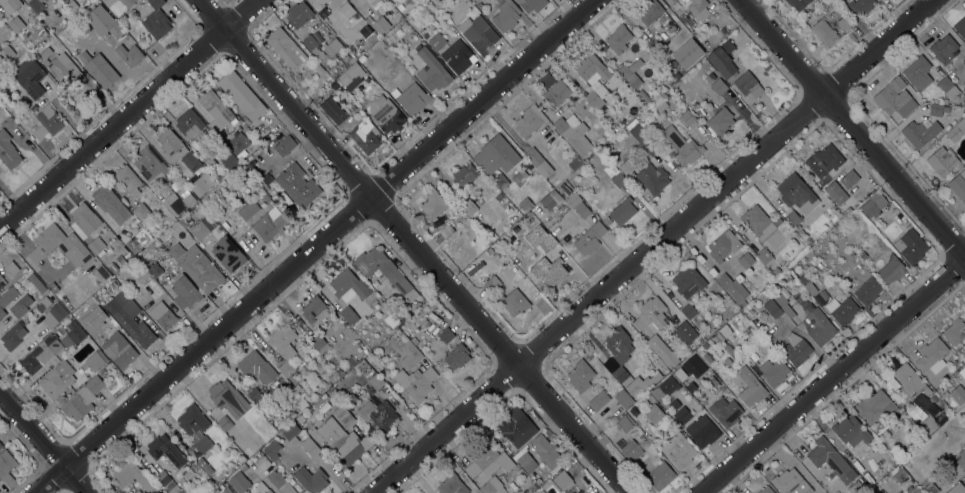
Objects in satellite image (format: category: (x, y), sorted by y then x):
building: (95, 1)
building: (434, 1)
building: (670, 2)
building: (319, 3)
building: (797, 3)
building: (71, 4)
building: (527, 4)
building: (9, 5)
building: (118, 5)
building: (479, 5)
building: (35, 6)
building: (861, 6)
building: (400, 7)
building: (829, 8)
building: (698, 9)
building: (346, 11)
building: (650, 13)
building: (103, 14)
building: (298, 14)
building: (505, 16)
building: (683, 18)
building: (367, 19)
building: (156, 20)
building: (690, 21)
building: (844, 23)
building: (380, 25)
building: (18, 26)
building: (961, 27)
building: (115, 30)
building: (723, 30)
building: (398, 32)
building: (824, 32)
building: (478, 33)
building: (618, 39)
building: (436, 41)
building: (311, 44)
building: (332, 47)
building: (285, 48)
building: (943, 49)
building: (6, 53)
building: (46, 53)
building: (686, 54)
building: (320, 55)
building: (362, 59)
building: (459, 59)
building: (722, 59)
building: (964, 61)
building: (114, 64)
building: (63, 68)
building: (353, 68)
building: (432, 71)
building: (964, 71)
building: (630, 73)
building: (918, 73)
building: (321, 74)
building: (710, 77)
building: (32, 78)
building: (343, 78)
building: (398, 78)
building: (544, 79)
building: (593, 79)
building: (945, 84)
building: (747, 85)
building: (719, 86)
building: (964, 89)
building: (557, 93)
building: (241, 95)
building: (894, 98)
building: (412, 99)
building: (317, 101)
building: (963, 104)
building: (753, 108)
building: (215, 110)
building: (935, 110)
building: (333, 111)
building: (386, 114)
road: (131, 115)
building: (687, 118)
building: (529, 120)
building: (47, 122)
building: (720, 122)
building: (189, 123)
building: (631, 128)
building: (957, 131)
road: (855, 132)
building: (919, 133)
building: (575, 135)
building: (364, 136)
building: (646, 142)
building: (170, 144)
building: (238, 144)
building: (678, 144)
building: (285, 146)
building: (8, 151)
building: (499, 153)
building: (221, 160)
building: (824, 160)
building: (942, 161)
building: (148, 163)
building: (538, 163)
building: (574, 163)
building: (625, 165)
building: (962, 173)
building: (464, 177)
building: (520, 177)
building: (243, 178)
building: (653, 179)
building: (849, 179)
building: (128, 180)
building: (618, 180)
building: (500, 181)
building: (222, 183)
building: (201, 184)
building: (297, 185)
building: (958, 187)
building: (493, 189)
building: (796, 193)
building: (836, 193)
building: (264, 196)
building: (555, 197)
building: (179, 202)
building: (547, 202)
building: (270, 203)
building: (110, 204)
building: (525, 204)
building: (873, 204)
building: (432, 205)
building: (577, 205)
building: (468, 207)
building: (283, 208)
building: (248, 210)
building: (141, 211)
building: (454, 211)
building: (622, 211)
building: (793, 218)
building: (83, 220)
building: (777, 221)
building: (183, 222)
building: (757, 222)
building: (269, 224)
building: (203, 227)
building: (446, 230)
building: (589, 238)
building: (547, 239)
building: (134, 244)
building: (524, 244)
building: (96, 246)
road: (314, 246)
road: (412, 246)
road: (652, 246)
building: (910, 246)
building: (720, 248)
building: (530, 249)
building: (66, 250)
building: (489, 251)
building: (228, 254)
building: (862, 255)
building: (764, 256)
building: (120, 260)
building: (745, 260)
building: (781, 264)
building: (197, 267)
building: (10, 268)
building: (112, 268)
building: (153, 269)
building: (891, 269)
building: (384, 271)
building: (550, 271)
building: (0, 277)
building: (789, 279)
building: (688, 281)
building: (36, 282)
building: (491, 283)
building: (807, 284)
building: (110, 286)
building: (53, 287)
building: (350, 287)
building: (733, 289)
building: (790, 290)
building: (765, 291)
building: (868, 291)
building: (185, 293)
building: (99, 295)
building: (7, 299)
building: (783, 301)
building: (514, 302)
building: (43, 304)
building: (98, 306)
building: (17, 309)
building: (312, 309)
building: (772, 309)
building: (841, 310)
building: (688, 311)
building: (650, 314)
building: (54, 315)
building: (162, 315)
building: (348, 315)
building: (81, 320)
building: (130, 320)
building: (391, 320)
building: (815, 321)
building: (87, 328)
building: (429, 328)
building: (61, 330)
building: (723, 330)
building: (955, 331)
building: (685, 333)
building: (96, 334)
building: (72, 335)
building: (446, 335)
building: (12, 337)
building: (717, 338)
building: (318, 342)
building: (705, 345)
building: (283, 346)
building: (728, 349)
building: (119, 350)
building: (796, 350)
building: (662, 351)
building: (409, 353)
building: (41, 354)
building: (618, 354)
building: (734, 355)
building: (931, 356)
building: (456, 357)
building: (707, 358)
building: (94, 361)
building: (349, 361)
building: (727, 362)
building: (692, 364)
building: (362, 365)
building: (256, 368)
road: (830, 370)
building: (102, 372)
building: (774, 372)
building: (962, 372)
building: (680, 375)
building: (580, 376)
building: (57, 379)
building: (651, 379)
building: (910, 381)
building: (416, 383)
building: (373, 384)
building: (668, 385)
building: (691, 387)
building: (297, 388)
building: (750, 388)
building: (256, 397)
building: (325, 397)
building: (642, 397)
building: (623, 398)
building: (228, 399)
building: (954, 399)
building: (81, 400)
building: (350, 400)
building: (599, 401)
building: (317, 402)
building: (673, 404)
building: (325, 406)
building: (875, 407)
building: (633, 411)
building: (725, 412)
building: (654, 414)
building: (378, 415)
building: (681, 415)
building: (344, 416)
building: (192, 420)
building: (224, 423)
building: (624, 424)
building: (928, 425)
building: (516, 427)
building: (702, 431)
building: (850, 431)
building: (291, 434)
building: (341, 441)
building: (0, 445)
building: (309, 446)
building: (199, 447)
road: (38, 449)
building: (629, 449)
building: (272, 450)
building: (678, 450)
building: (165, 451)
building: (546, 451)
building: (248, 452)
building: (961, 458)
building: (525, 459)
building: (831, 460)
building: (488, 462)
building: (202, 463)
building: (243, 467)
building: (7, 468)
building: (660, 476)
building: (134, 477)
building: (275, 479)
building: (311, 480)
building: (562, 480)
building: (239, 482)
building: (538, 482)
building: (790, 482)
building: (901, 482)
building: (167, 483)
building: (452, 485)
building: (492, 486)
building: (262, 488)
building: (930, 488)
building: (530, 489)
building: (957, 489)
building: (765, 490)
building: (913, 490)
building: (137, 491)
building: (226, 491)

